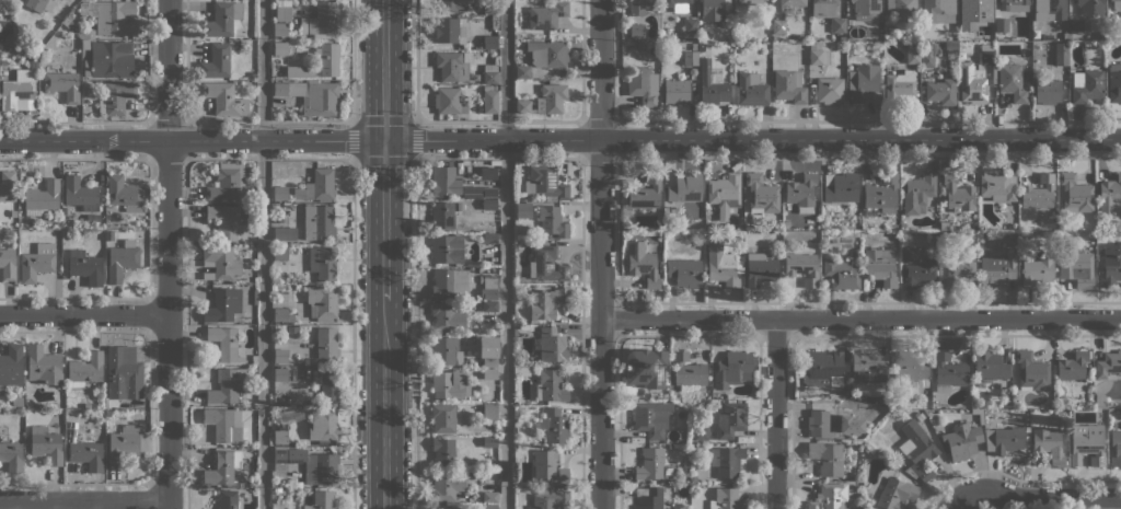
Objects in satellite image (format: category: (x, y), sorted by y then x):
building: (749, 2)
building: (791, 2)
building: (282, 3)
building: (39, 4)
building: (450, 4)
building: (677, 4)
building: (637, 5)
building: (971, 5)
building: (1117, 5)
building: (489, 7)
building: (1004, 7)
building: (1089, 7)
building: (822, 8)
building: (713, 9)
building: (902, 9)
building: (865, 10)
building: (937, 10)
building: (1049, 10)
building: (282, 13)
building: (545, 15)
building: (109, 16)
building: (222, 19)
building: (320, 20)
building: (986, 24)
building: (1001, 24)
building: (690, 25)
building: (837, 25)
building: (1078, 25)
building: (779, 27)
building: (279, 28)
building: (446, 30)
building: (890, 30)
building: (635, 31)
building: (84, 33)
building: (729, 37)
building: (489, 42)
building: (84, 44)
building: (811, 45)
building: (279, 48)
building: (912, 53)
building: (548, 54)
building: (927, 54)
building: (1061, 54)
building: (466, 56)
building: (690, 57)
building: (818, 57)
building: (109, 59)
building: (328, 59)
building: (987, 59)
building: (33, 60)
road: (351, 60)
road: (415, 60)
building: (216, 61)
building: (451, 66)
road: (384, 69)
building: (299, 71)
building: (522, 71)
building: (489, 73)
building: (475, 77)
building: (1009, 79)
building: (971, 82)
building: (1114, 82)
building: (863, 83)
building: (62, 84)
building: (642, 84)
building: (712, 84)
building: (898, 84)
building: (788, 85)
building: (1086, 85)
building: (751, 89)
building: (829, 90)
building: (19, 91)
building: (675, 91)
building: (940, 91)
building: (1047, 91)
building: (311, 95)
building: (115, 97)
building: (224, 99)
building: (489, 99)
building: (544, 100)
building: (449, 101)
building: (292, 102)
building: (282, 112)
road: (559, 138)
traffic signals: (385, 139)
road: (354, 157)
building: (1120, 172)
building: (487, 173)
building: (443, 181)
building: (230, 182)
building: (544, 183)
building: (8, 186)
building: (316, 186)
building: (998, 186)
building: (684, 187)
building: (840, 187)
building: (724, 190)
building: (800, 190)
building: (489, 192)
building: (917, 192)
building: (279, 193)
building: (644, 193)
building: (881, 193)
building: (1038, 193)
building: (1075, 193)
building: (80, 194)
building: (123, 194)
building: (761, 194)
building: (958, 194)
building: (1110, 196)
building: (42, 197)
building: (488, 204)
building: (460, 206)
building: (523, 209)
building: (66, 210)
building: (442, 213)
building: (481, 217)
road: (384, 219)
building: (224, 220)
building: (552, 221)
building: (317, 222)
building: (944, 224)
building: (1091, 227)
building: (284, 233)
building: (1090, 233)
building: (946, 235)
building: (932, 236)
building: (489, 238)
building: (447, 248)
building: (279, 252)
road: (167, 254)
road: (263, 254)
road: (506, 254)
road: (599, 254)
building: (910, 254)
building: (122, 259)
building: (221, 261)
building: (37, 262)
building: (8, 264)
building: (546, 264)
building: (642, 264)
building: (323, 265)
building: (720, 265)
building: (1111, 265)
building: (880, 266)
building: (85, 267)
building: (802, 267)
building: (1076, 267)
building: (760, 269)
building: (997, 269)
building: (957, 270)
building: (684, 271)
building: (918, 271)
building: (1036, 271)
building: (841, 273)
building: (450, 282)
building: (275, 287)
building: (488, 287)
building: (254, 297)
building: (322, 302)
building: (545, 302)
building: (223, 304)
building: (489, 305)
road: (83, 313)
building: (284, 314)
building: (447, 316)
road: (859, 319)
building: (291, 329)
road: (353, 333)
road: (415, 333)
building: (492, 337)
building: (224, 343)
building: (326, 343)
building: (551, 345)
building: (446, 351)
building: (489, 354)
building: (280, 355)
building: (44, 365)
building: (1108, 365)
building: (11, 366)
building: (990, 366)
building: (1072, 366)
building: (645, 367)
building: (868, 367)
building: (823, 368)
building: (909, 368)
building: (85, 369)
building: (731, 369)
building: (521, 370)
building: (687, 370)
building: (948, 371)
building: (1031, 371)
building: (123, 372)
building: (490, 373)
building: (280, 374)
building: (326, 383)
building: (450, 383)
building: (227, 385)
building: (551, 385)
building: (844, 392)
building: (721, 394)
building: (881, 400)
building: (1099, 400)
building: (18, 401)
road: (384, 404)
building: (489, 410)
road: (776, 414)
building: (1061, 414)
building: (918, 415)
building: (443, 417)
building: (651, 417)
building: (730, 419)
building: (820, 419)
building: (222, 424)
building: (323, 424)
building: (554, 425)
building: (700, 431)
building: (280, 437)
building: (960, 438)
building: (1004, 439)
building: (489, 441)
building: (125, 442)
building: (1087, 443)
building: (46, 444)
building: (1048, 447)
building: (1116, 448)
building: (917, 450)
building: (443, 452)
building: (86, 454)
building: (11, 455)
building: (827, 456)
building: (726, 460)
building: (650, 463)
building: (311, 464)
building: (222, 466)
building: (547, 466)
building: (693, 479)
building: (448, 484)
building: (685, 488)
building: (895, 493)
building: (830, 496)
road: (1037, 496)
building: (489, 497)
building: (648, 497)
building: (227, 498)
building: (550, 498)
building: (725, 499)
road: (84, 500)
building: (321, 500)
building: (443, 507)
building: (489, 507)
road: (955, 507)

